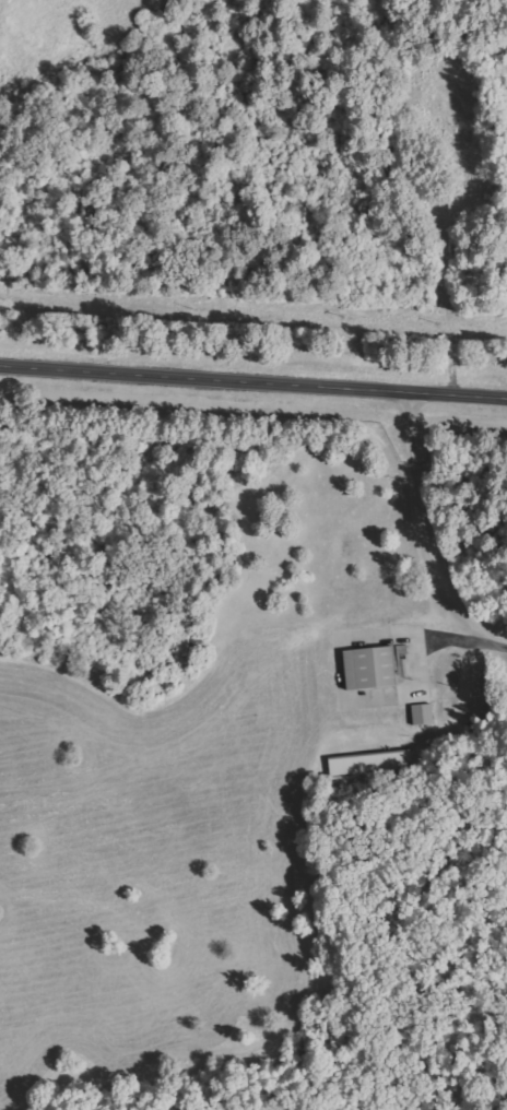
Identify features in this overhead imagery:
road: (253, 376)
building: (368, 669)
building: (369, 763)

